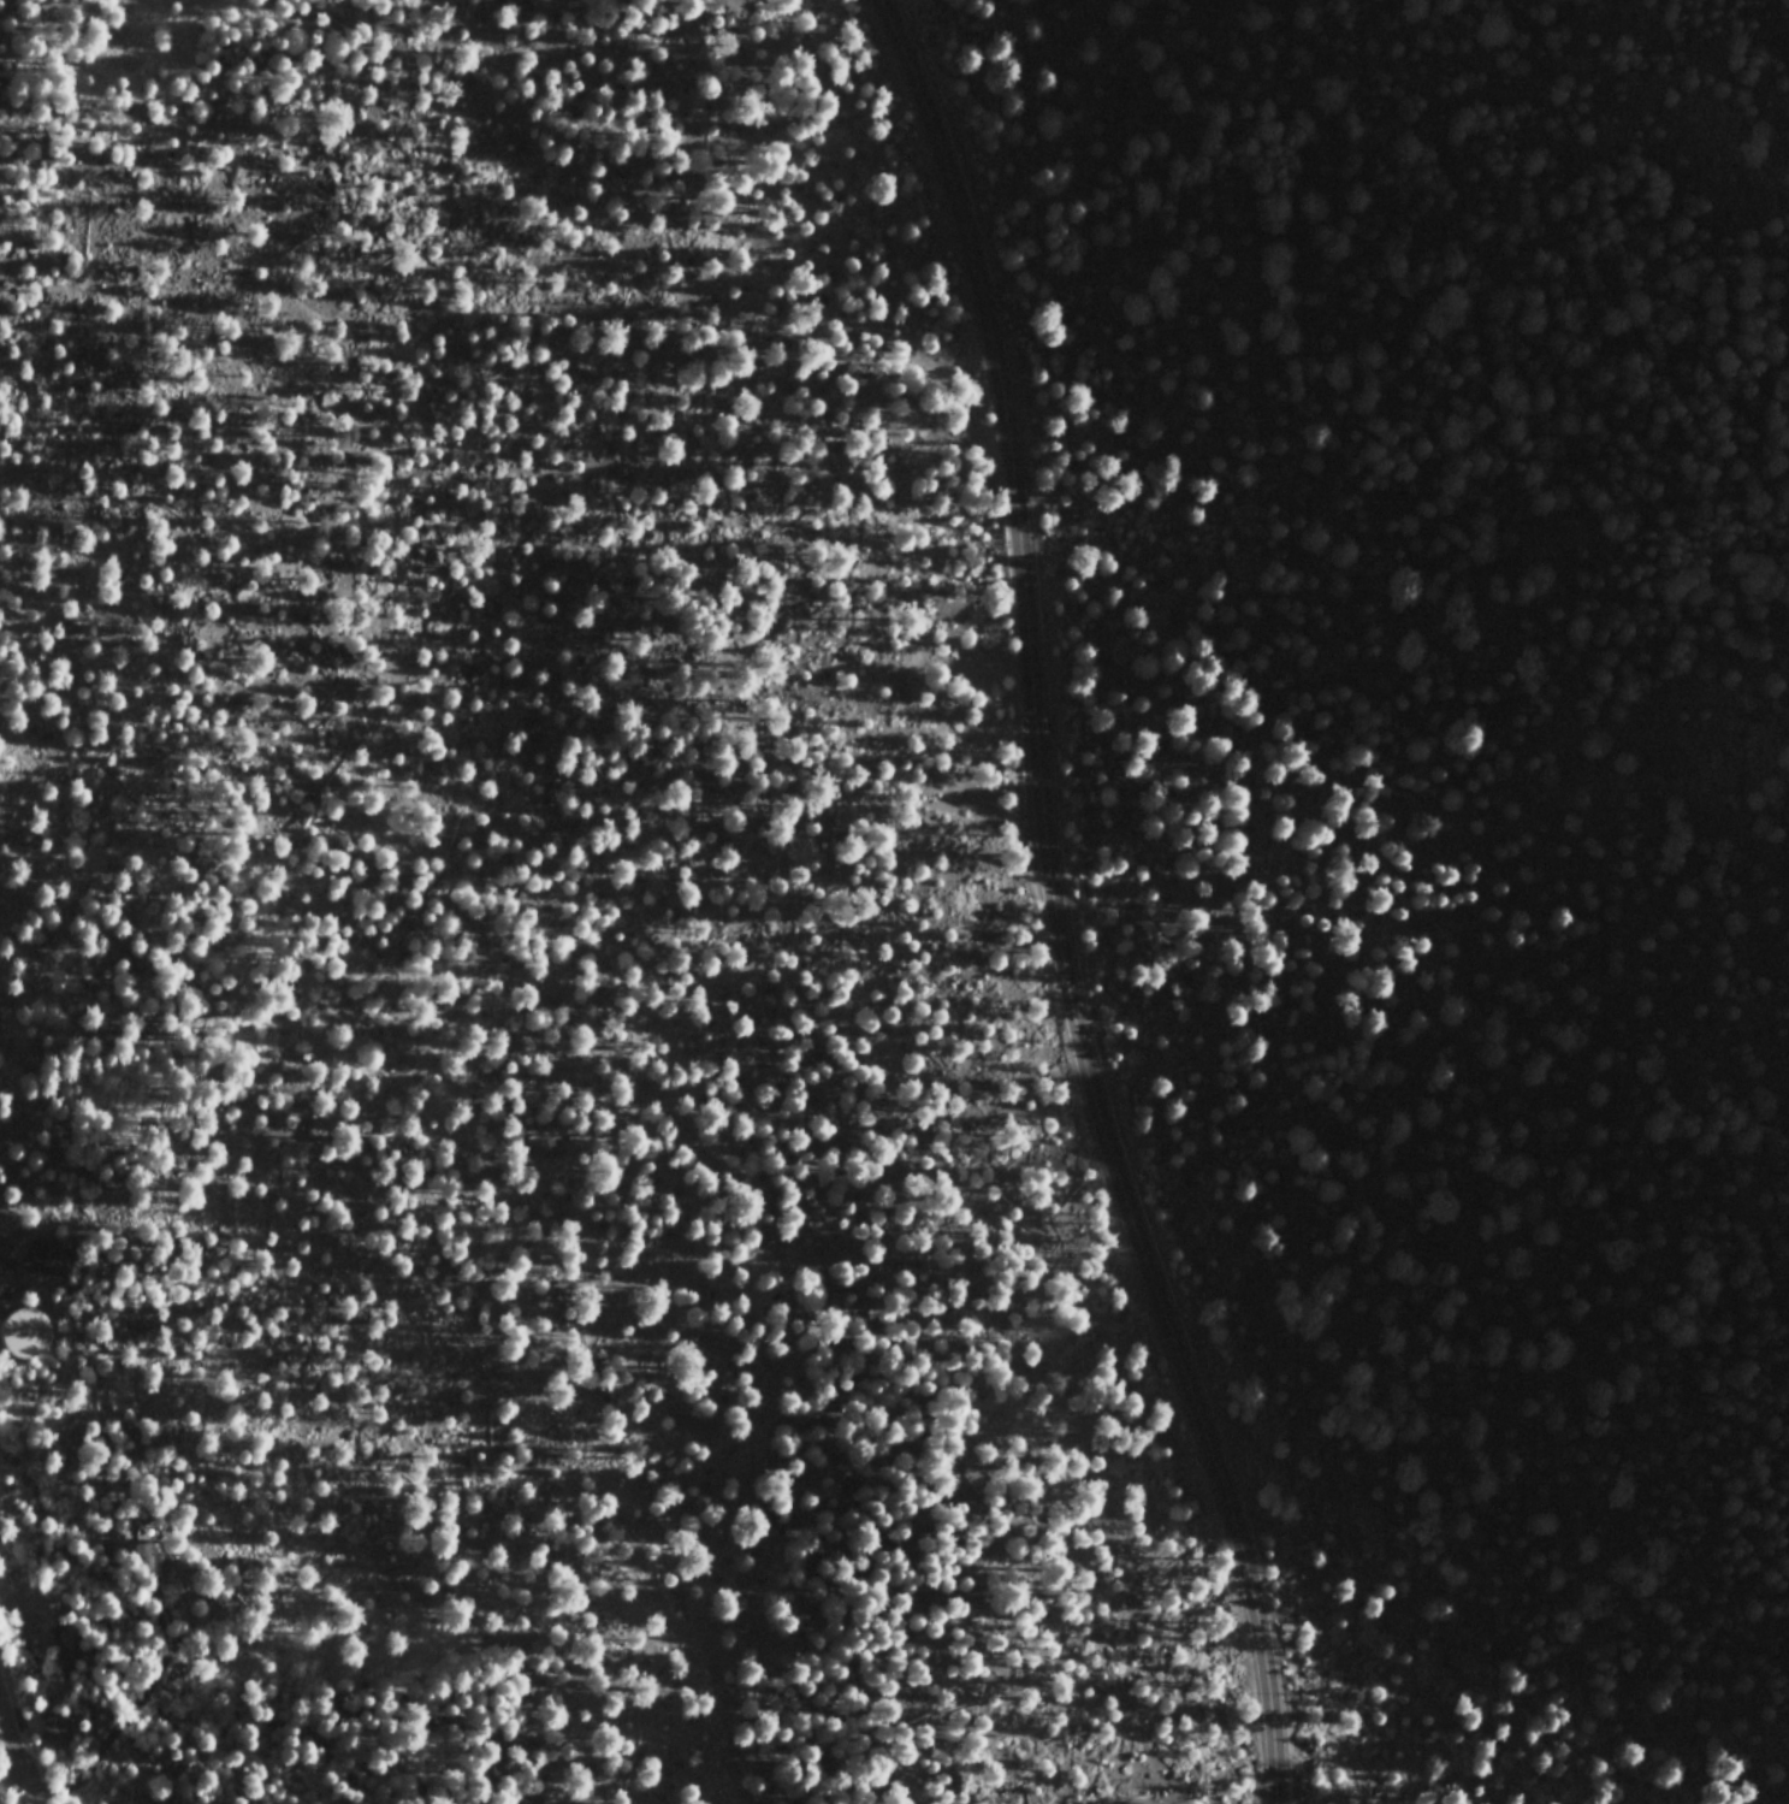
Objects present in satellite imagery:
road: (1049, 906)
building: (42, 1262)
building: (22, 1335)
building: (148, 1563)
building: (69, 1649)
road: (37, 1705)
road: (147, 1708)
building: (49, 1734)
road: (11, 1745)
road: (28, 1793)

